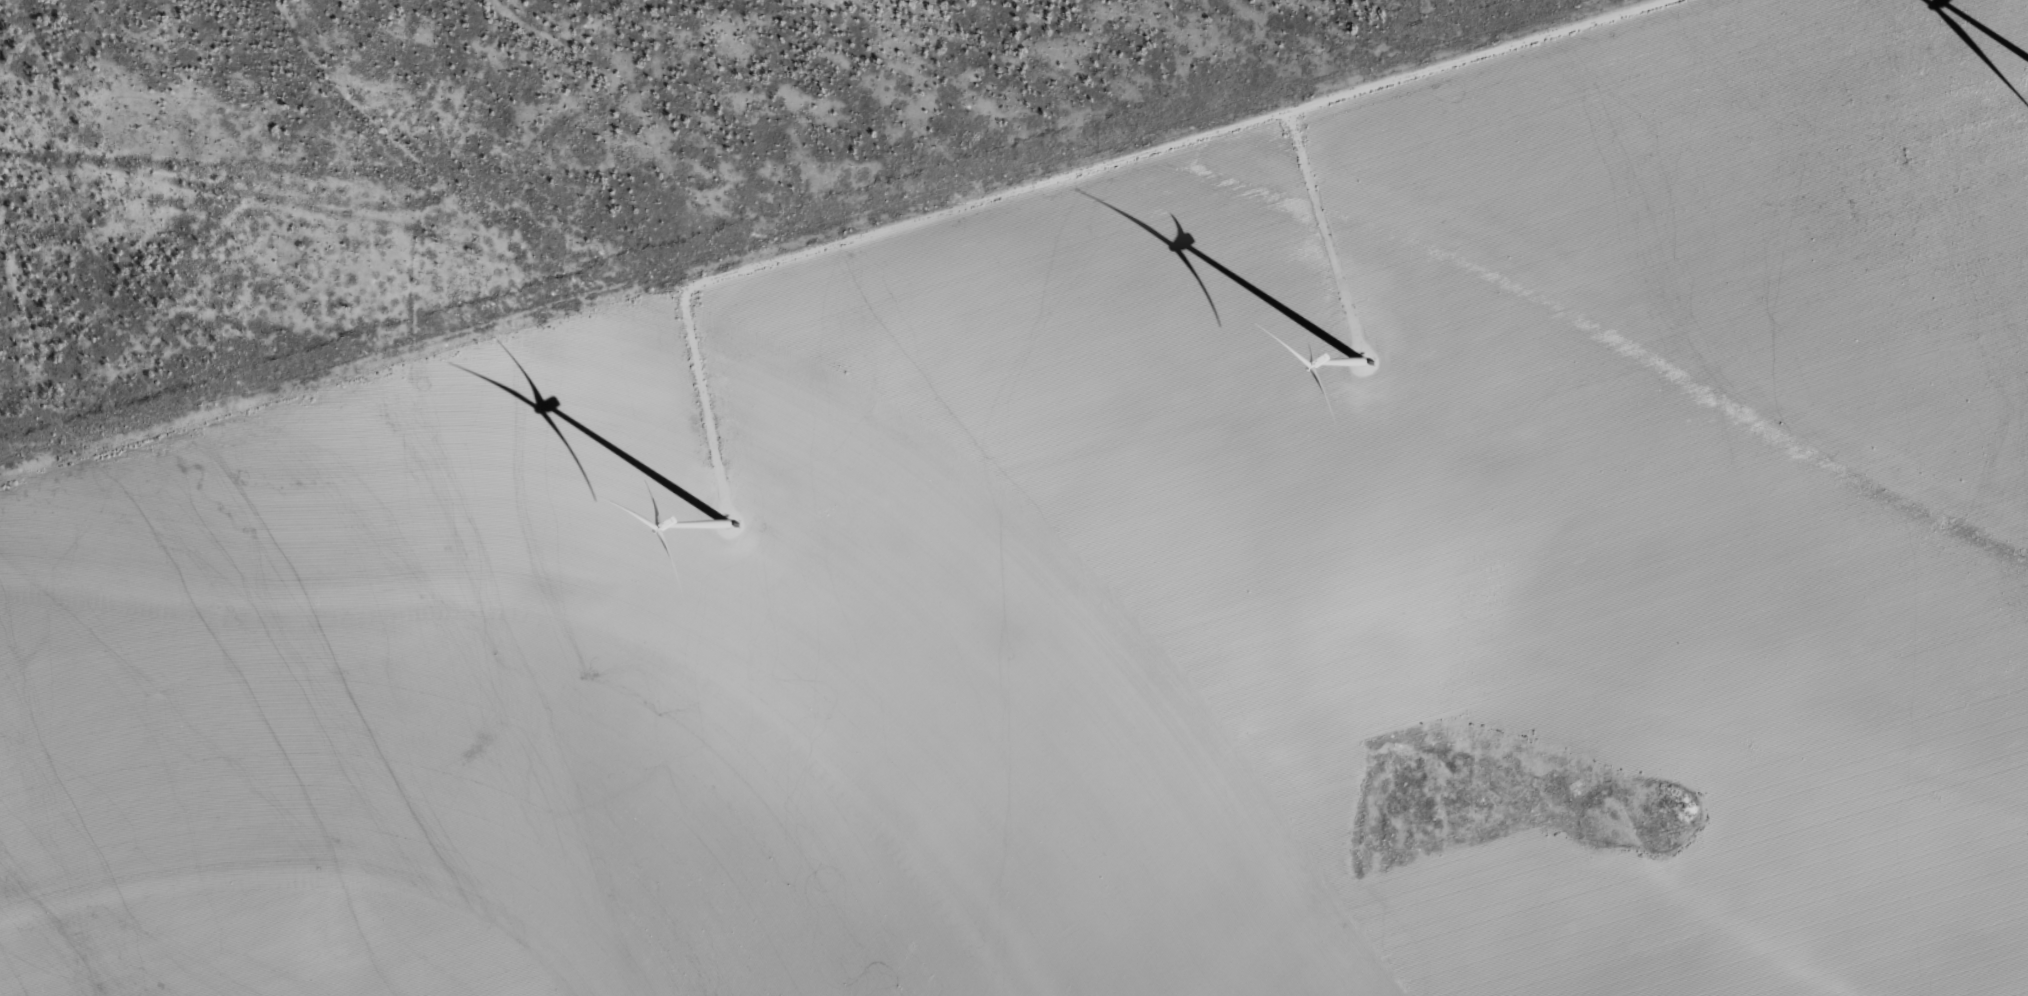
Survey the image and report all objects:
wind turbine: (1358, 361)
wind turbine: (721, 529)

